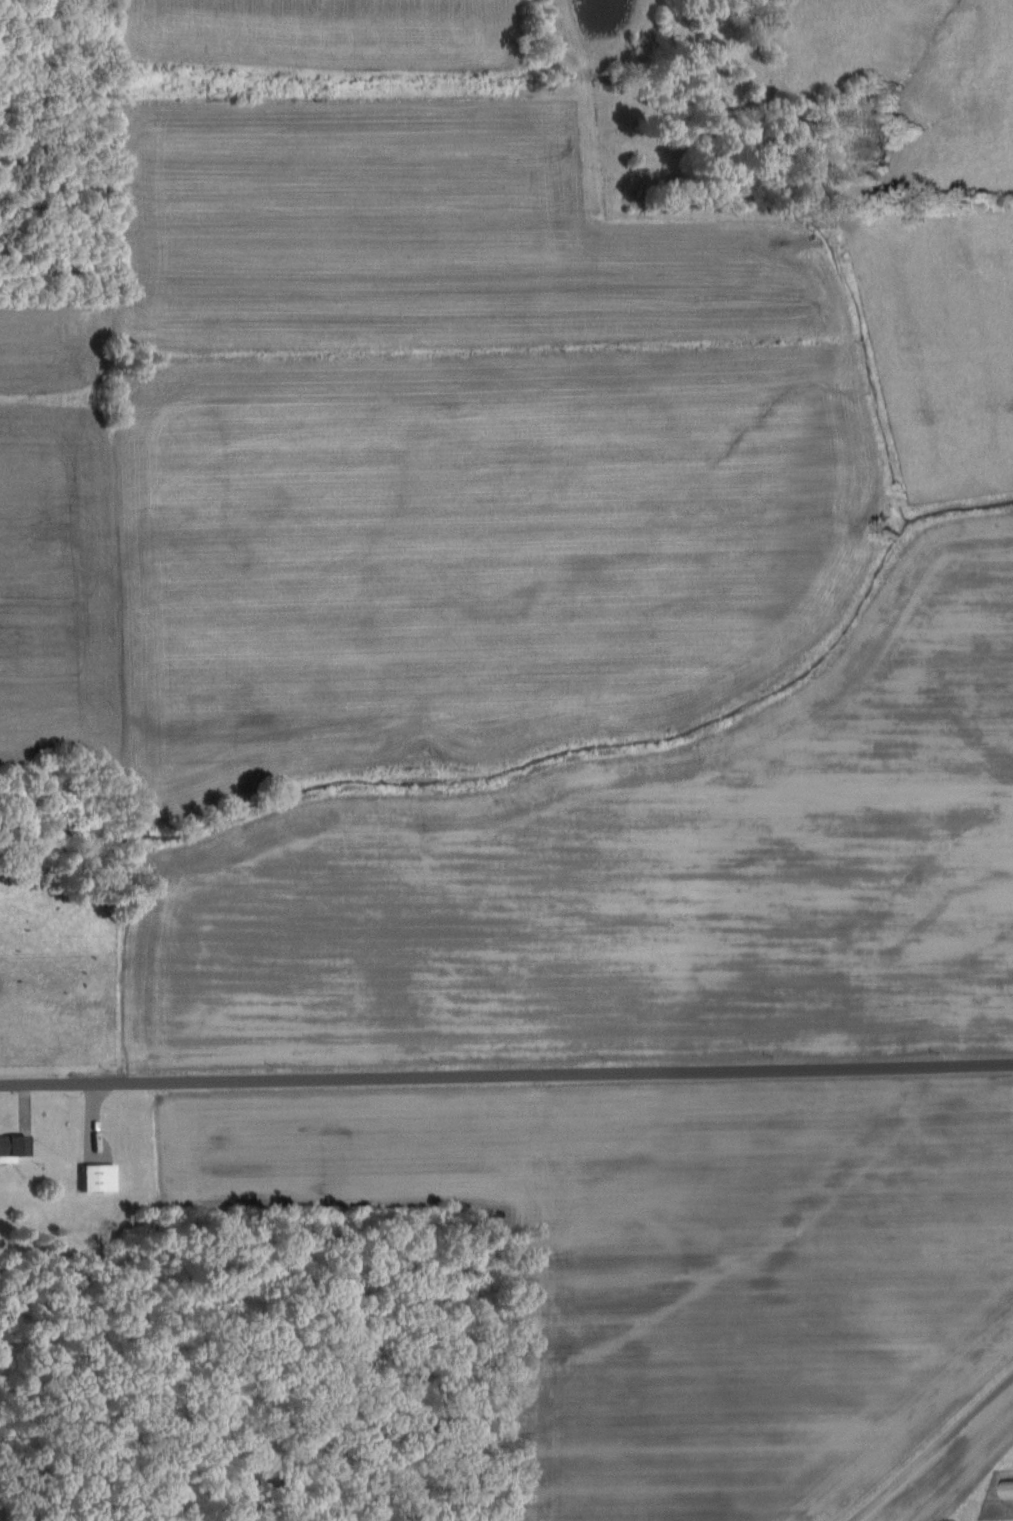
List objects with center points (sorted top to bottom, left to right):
road: (506, 1076)
building: (11, 1148)
building: (92, 1178)

